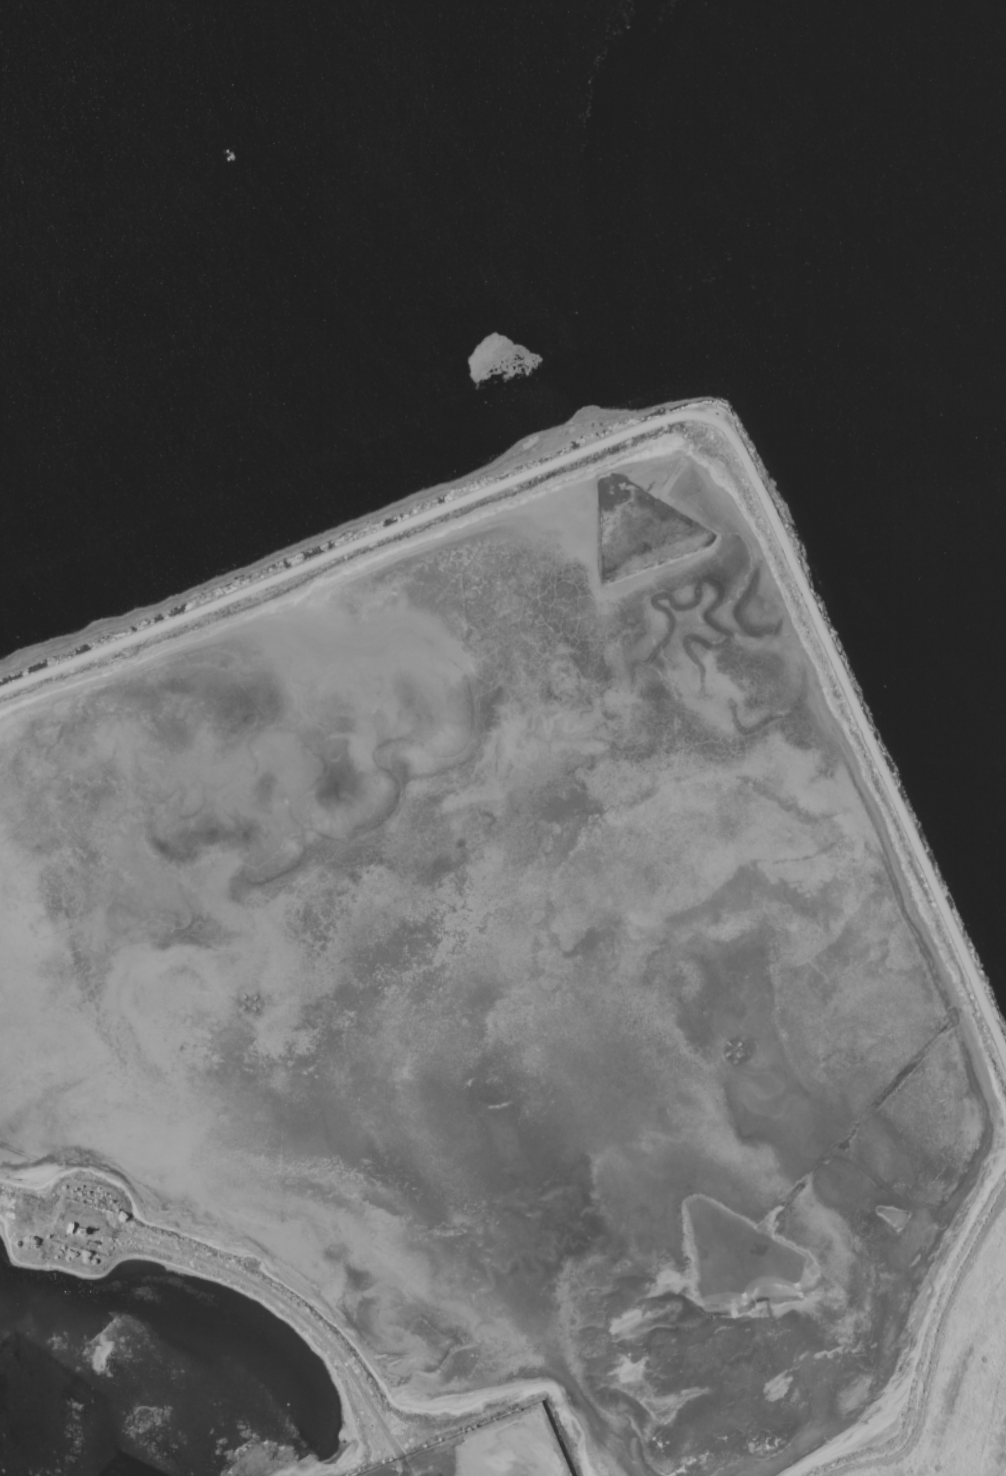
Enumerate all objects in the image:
building: (227, 154)
road: (683, 414)
road: (292, 1315)
road: (934, 1354)
airport: (488, 1451)

